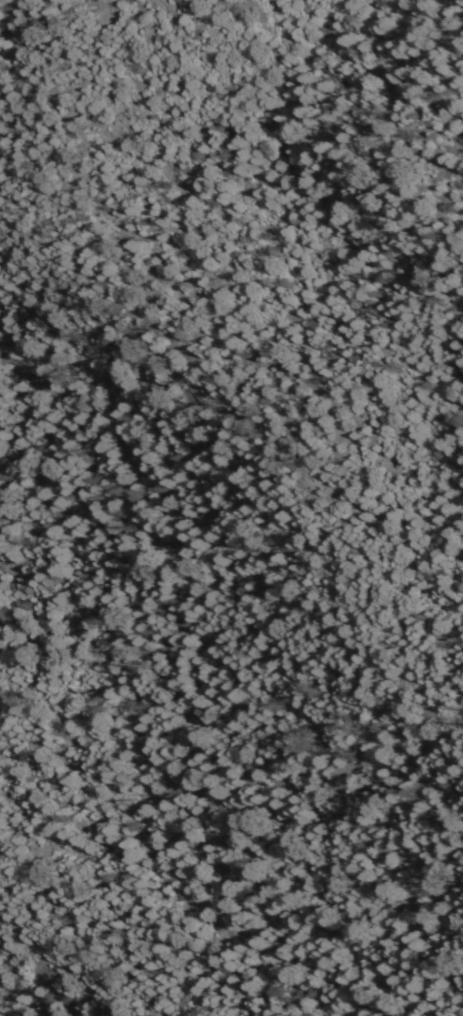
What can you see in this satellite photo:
road: (213, 370)

